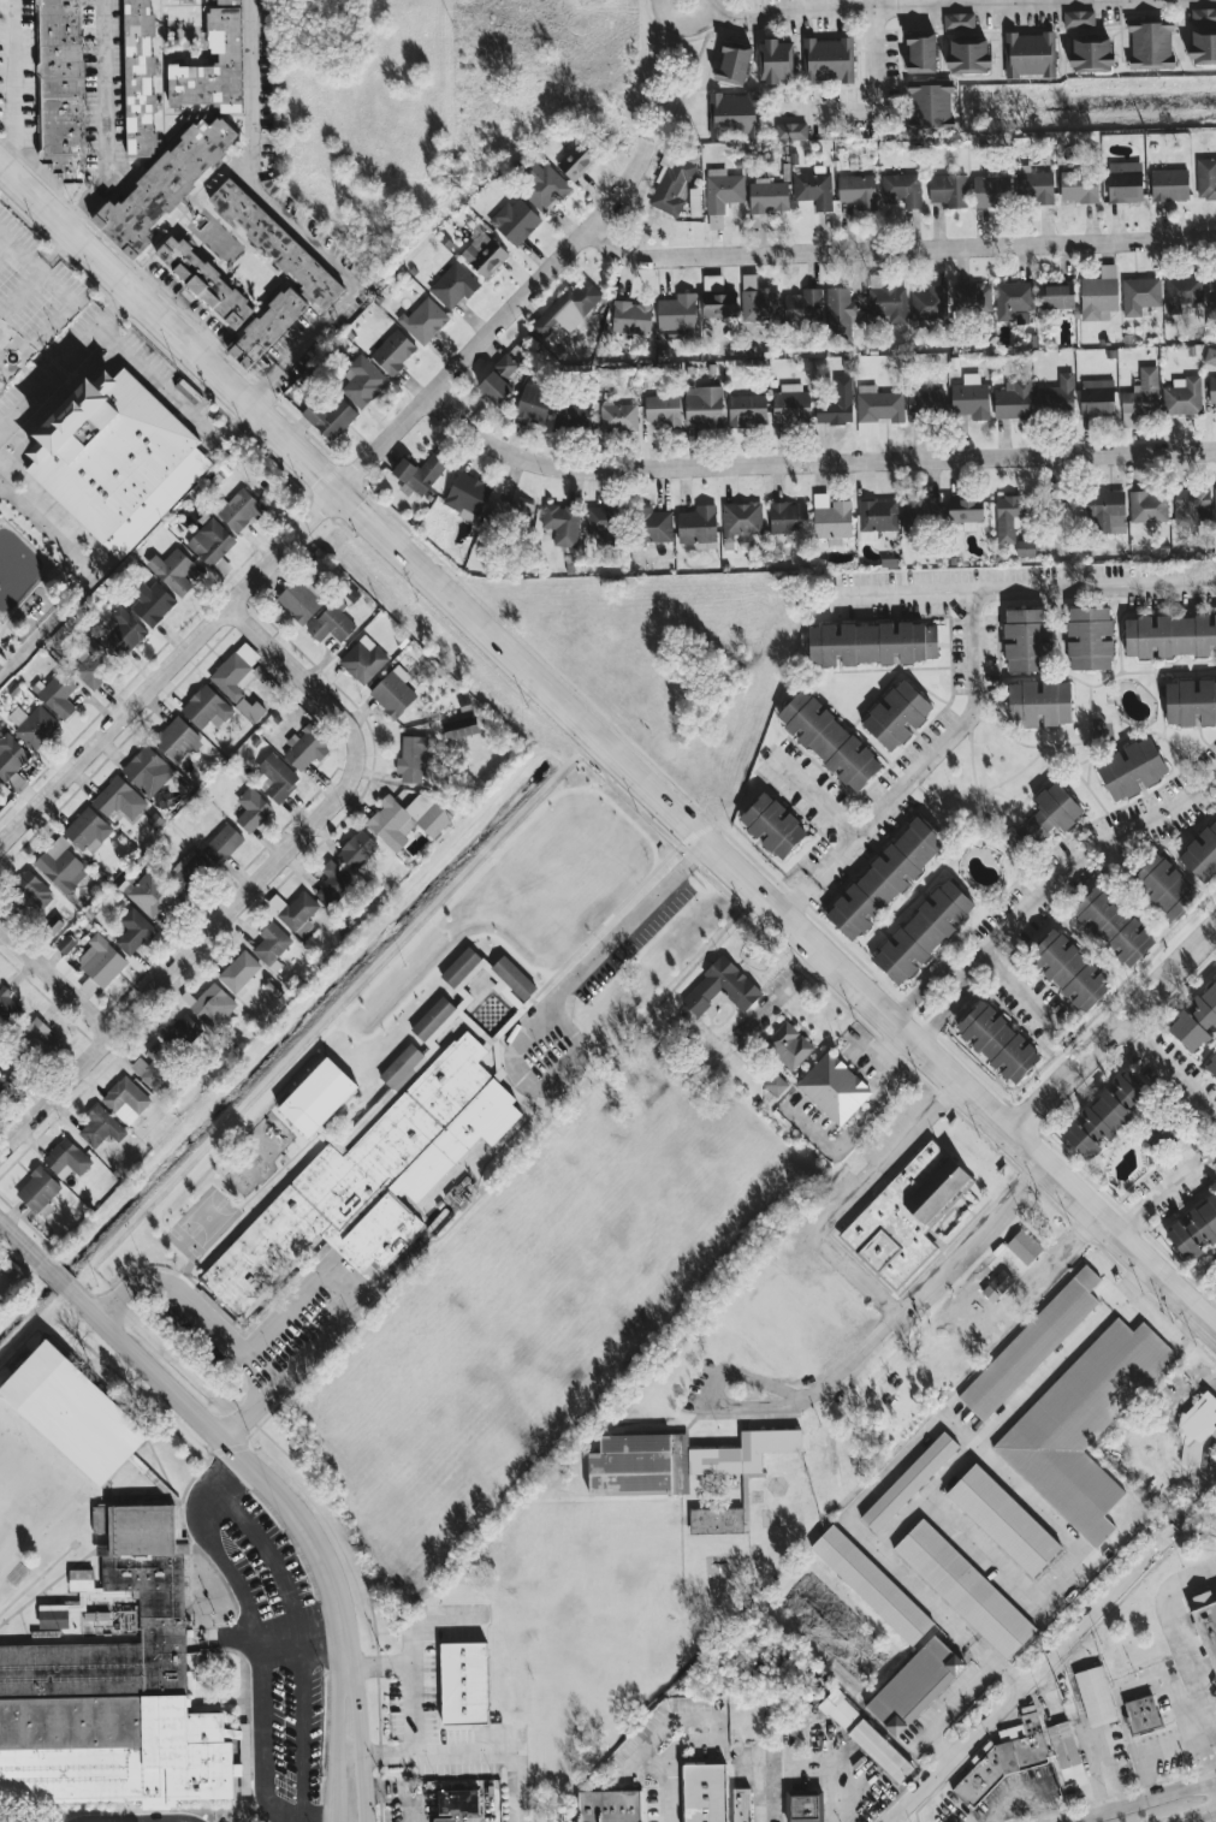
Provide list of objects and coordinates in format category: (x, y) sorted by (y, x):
road: (6, 1)
building: (227, 2)
road: (870, 5)
road: (728, 18)
building: (1076, 18)
building: (957, 20)
road: (689, 28)
building: (1202, 35)
building: (1150, 44)
building: (1090, 51)
building: (920, 52)
building: (1027, 54)
building: (967, 55)
building: (828, 59)
building: (775, 60)
building: (732, 64)
building: (213, 67)
building: (138, 78)
building: (60, 87)
road: (17, 88)
road: (248, 88)
road: (872, 100)
building: (927, 105)
road: (112, 121)
building: (790, 131)
building: (576, 161)
building: (1205, 179)
building: (1125, 182)
building: (671, 183)
building: (541, 184)
building: (164, 185)
building: (1169, 185)
building: (1034, 186)
building: (1079, 186)
building: (814, 189)
building: (900, 189)
building: (948, 190)
building: (858, 191)
building: (991, 191)
building: (720, 195)
building: (766, 198)
building: (516, 221)
building: (275, 244)
road: (900, 250)
road: (4, 251)
road: (53, 255)
building: (484, 255)
road: (337, 271)
building: (203, 281)
building: (452, 286)
building: (1211, 290)
building: (1181, 292)
building: (1099, 295)
building: (1139, 295)
road: (23, 297)
building: (971, 297)
building: (1056, 297)
building: (758, 302)
building: (1013, 302)
building: (888, 303)
building: (719, 304)
building: (929, 304)
road: (67, 305)
building: (803, 307)
building: (565, 313)
building: (677, 313)
building: (838, 313)
building: (631, 317)
building: (423, 321)
building: (267, 327)
building: (393, 352)
fountain: (11, 356)
building: (1210, 356)
road: (66, 363)
building: (362, 381)
building: (497, 381)
road: (260, 382)
road: (159, 385)
building: (1212, 390)
building: (1056, 397)
building: (1096, 397)
building: (1140, 397)
building: (1182, 397)
building: (969, 398)
building: (1013, 402)
building: (533, 403)
building: (836, 404)
building: (790, 405)
building: (925, 405)
building: (702, 406)
building: (877, 409)
building: (663, 410)
building: (747, 411)
building: (573, 414)
building: (328, 416)
building: (107, 447)
road: (812, 461)
building: (417, 474)
road: (326, 493)
road: (1061, 506)
building: (1147, 506)
building: (1191, 506)
building: (1215, 508)
building: (238, 510)
building: (966, 510)
building: (1104, 511)
building: (921, 512)
building: (511, 514)
building: (785, 517)
building: (876, 517)
building: (1008, 517)
building: (741, 520)
building: (832, 521)
building: (603, 523)
building: (562, 524)
building: (653, 526)
building: (698, 527)
building: (209, 541)
road: (127, 544)
building: (1025, 548)
building: (171, 571)
road: (1025, 586)
building: (299, 599)
building: (150, 603)
building: (331, 622)
road: (49, 631)
building: (120, 633)
building: (1170, 636)
building: (1026, 639)
building: (1089, 639)
building: (871, 643)
building: (2, 659)
building: (362, 659)
building: (91, 664)
building: (235, 671)
building: (392, 692)
building: (57, 693)
building: (1190, 702)
building: (1039, 704)
building: (204, 707)
building: (255, 711)
building: (896, 716)
building: (31, 725)
building: (459, 728)
road: (960, 730)
building: (174, 738)
building: (829, 741)
road: (609, 743)
building: (306, 748)
building: (10, 756)
building: (410, 759)
building: (1131, 768)
building: (146, 771)
building: (275, 778)
building: (119, 800)
road: (815, 800)
building: (251, 809)
building: (405, 819)
building: (1044, 819)
building: (772, 826)
building: (87, 830)
building: (220, 843)
building: (356, 849)
road: (1086, 851)
building: (1202, 854)
road: (835, 859)
building: (59, 865)
building: (186, 868)
building: (886, 877)
road: (251, 879)
building: (332, 886)
building: (1164, 888)
building: (32, 891)
road: (799, 894)
building: (150, 895)
building: (293, 909)
road: (633, 916)
building: (1113, 926)
building: (132, 931)
building: (923, 932)
building: (271, 943)
building: (65, 944)
building: (99, 962)
building: (1068, 969)
building: (238, 971)
building: (458, 971)
road: (55, 979)
building: (512, 983)
building: (720, 987)
road: (1021, 991)
road: (943, 995)
road: (776, 999)
building: (7, 1005)
building: (213, 1007)
building: (1196, 1020)
building: (431, 1023)
road: (1134, 1026)
building: (179, 1028)
road: (1115, 1031)
building: (41, 1037)
building: (997, 1043)
building: (788, 1045)
road: (517, 1047)
building: (1211, 1066)
building: (398, 1069)
road: (1178, 1070)
building: (775, 1085)
building: (834, 1088)
building: (125, 1099)
building: (314, 1103)
road: (876, 1112)
building: (1103, 1115)
building: (100, 1127)
road: (1214, 1143)
building: (66, 1159)
building: (369, 1181)
road: (1165, 1188)
building: (37, 1189)
building: (1215, 1193)
road: (850, 1199)
building: (906, 1213)
building: (1194, 1229)
building: (1024, 1246)
building: (1214, 1269)
building: (1001, 1281)
road: (1129, 1284)
road: (892, 1322)
road: (225, 1336)
building: (1031, 1345)
road: (314, 1354)
road: (203, 1418)
building: (71, 1419)
building: (1082, 1425)
building: (1198, 1430)
building: (676, 1460)
road: (944, 1474)
building: (908, 1482)
building: (716, 1520)
building: (1003, 1520)
road: (206, 1544)
road: (267, 1555)
building: (1193, 1560)
building: (871, 1585)
building: (963, 1589)
building: (82, 1598)
road: (1096, 1610)
building: (1208, 1630)
road: (299, 1633)
parking lot: (266, 1639)
road: (1182, 1654)
road: (993, 1662)
road: (422, 1680)
building: (463, 1684)
building: (914, 1686)
road: (1125, 1686)
building: (114, 1689)
building: (1095, 1696)
road: (948, 1709)
building: (1141, 1713)
road: (297, 1727)
road: (1211, 1728)
road: (704, 1733)
road: (261, 1734)
road: (336, 1737)
road: (362, 1737)
road: (1173, 1743)
building: (1063, 1745)
building: (879, 1750)
road: (954, 1750)
road: (471, 1756)
building: (1004, 1756)
road: (819, 1761)
road: (841, 1763)
road: (1147, 1776)
road: (402, 1793)
building: (714, 1796)
road: (1140, 1802)
building: (457, 1804)
building: (803, 1805)
building: (609, 1814)
road: (1210, 1820)

